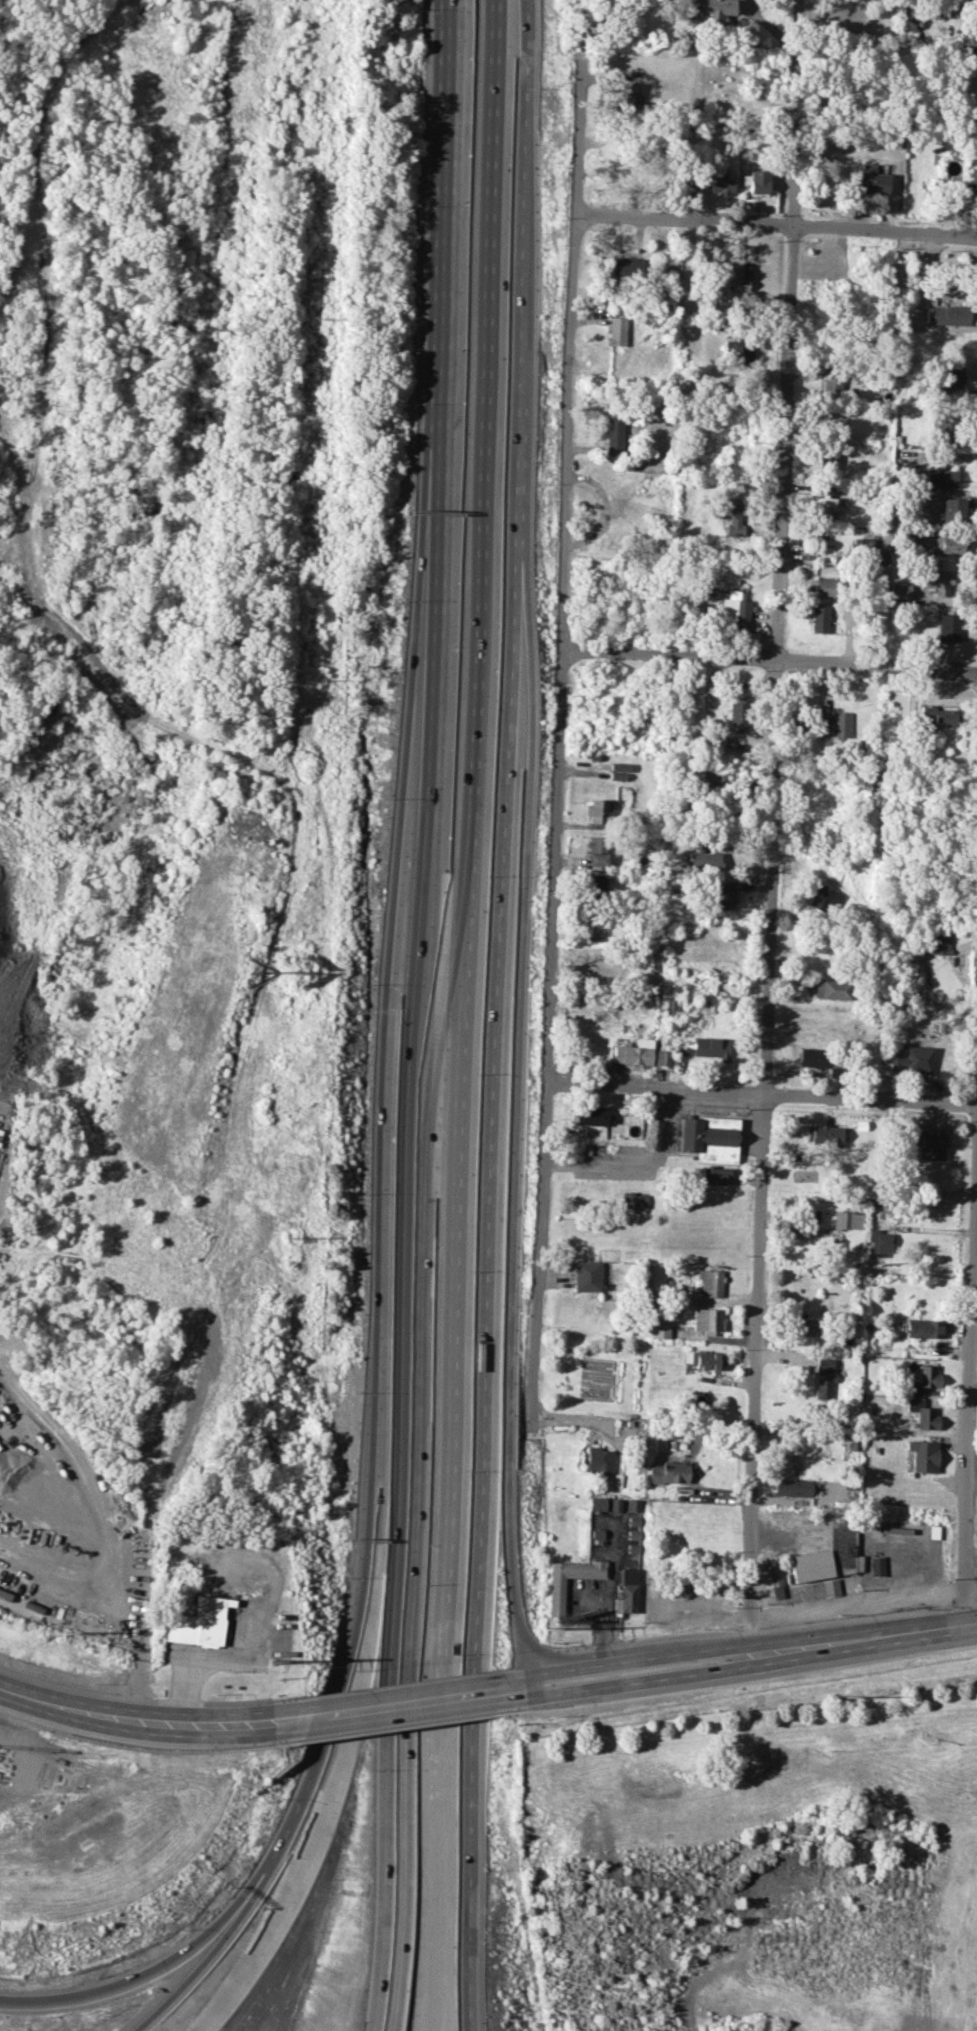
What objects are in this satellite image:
building: (710, 12)
building: (967, 41)
building: (628, 96)
building: (871, 180)
building: (757, 181)
building: (719, 182)
road: (775, 222)
building: (626, 265)
road: (44, 271)
building: (736, 275)
road: (444, 295)
building: (944, 313)
power tower: (322, 317)
power tower: (214, 328)
building: (616, 330)
building: (737, 352)
building: (950, 375)
building: (832, 384)
building: (945, 430)
building: (612, 435)
building: (939, 477)
building: (957, 503)
building: (825, 508)
building: (730, 514)
building: (948, 544)
building: (937, 581)
building: (824, 587)
building: (900, 590)
building: (736, 608)
building: (819, 618)
power tower: (179, 619)
building: (948, 627)
road: (768, 659)
power tower: (310, 683)
building: (738, 713)
building: (936, 717)
building: (841, 723)
road: (556, 728)
building: (622, 766)
building: (619, 775)
building: (598, 810)
road: (770, 826)
building: (597, 850)
building: (705, 859)
building: (596, 883)
building: (725, 895)
road: (311, 897)
building: (826, 899)
building: (595, 928)
building: (939, 944)
power tower: (299, 974)
building: (831, 988)
road: (387, 1002)
building: (670, 1005)
road: (464, 1015)
road: (499, 1015)
building: (711, 1047)
building: (632, 1054)
building: (813, 1056)
building: (664, 1057)
building: (913, 1059)
road: (760, 1092)
building: (590, 1115)
road: (515, 1120)
building: (822, 1134)
building: (708, 1138)
building: (929, 1144)
building: (713, 1174)
building: (634, 1200)
building: (842, 1219)
building: (856, 1220)
power tower: (291, 1238)
building: (879, 1240)
building: (586, 1275)
building: (710, 1283)
road: (414, 1311)
building: (706, 1319)
building: (804, 1327)
building: (923, 1328)
building: (659, 1329)
building: (701, 1359)
building: (823, 1377)
road: (969, 1378)
building: (923, 1379)
building: (922, 1413)
building: (923, 1455)
building: (600, 1459)
building: (669, 1472)
building: (791, 1487)
road: (370, 1496)
building: (596, 1503)
building: (614, 1504)
building: (633, 1504)
building: (810, 1565)
building: (876, 1565)
building: (773, 1574)
building: (830, 1587)
building: (626, 1591)
road: (608, 1592)
building: (554, 1596)
road: (112, 1609)
building: (198, 1622)
power tower: (546, 1627)
road: (863, 1636)
power tower: (61, 1640)
road: (702, 1649)
road: (208, 1658)
power tower: (272, 1660)
road: (588, 1664)
road: (641, 1680)
road: (2, 1684)
road: (519, 1688)
power tower: (844, 1696)
road: (391, 1706)
road: (337, 1715)
road: (134, 1719)
road: (331, 1817)
road: (225, 1948)
road: (161, 1962)

